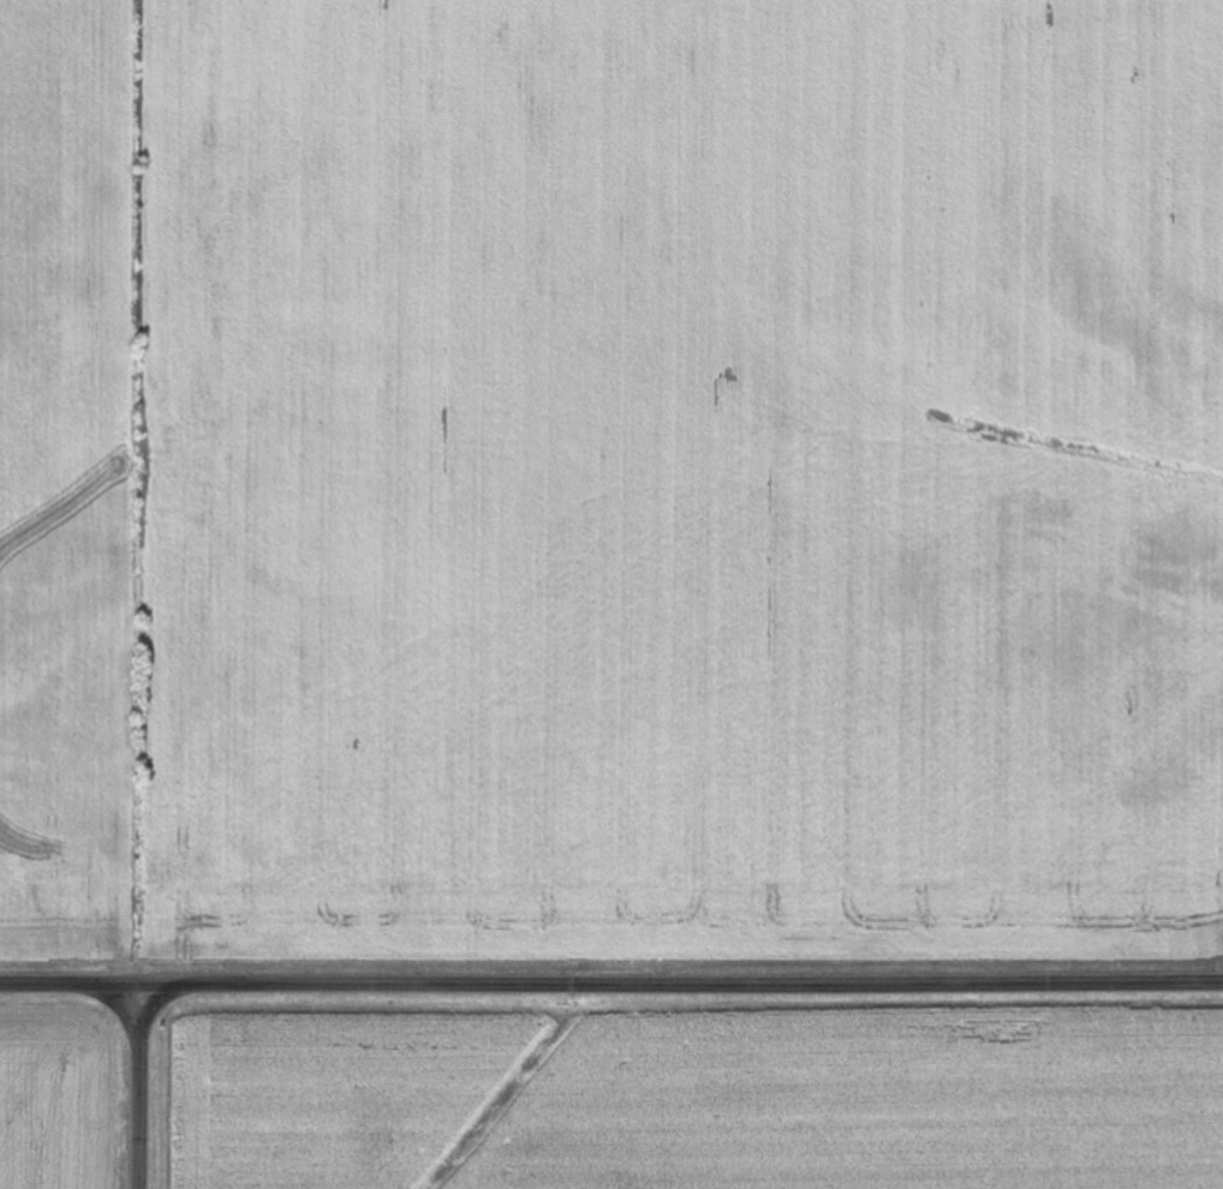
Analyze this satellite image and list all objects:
road: (610, 985)
road: (139, 1086)

